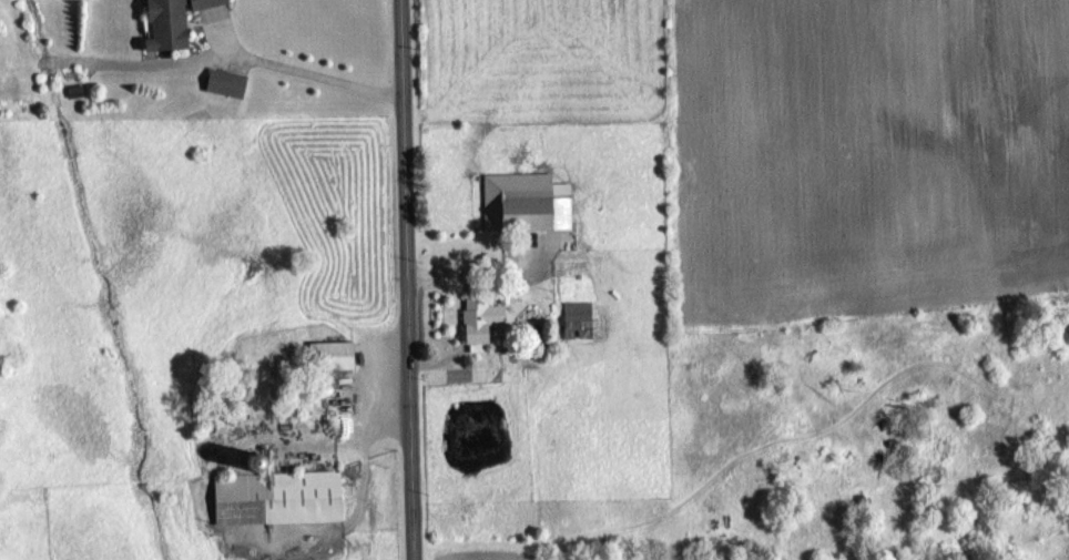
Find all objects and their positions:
building: (173, 21)
road: (302, 67)
building: (227, 81)
building: (527, 201)
road: (476, 268)
road: (405, 279)
building: (480, 314)
building: (579, 318)
building: (334, 354)
building: (291, 499)
building: (861, 502)

